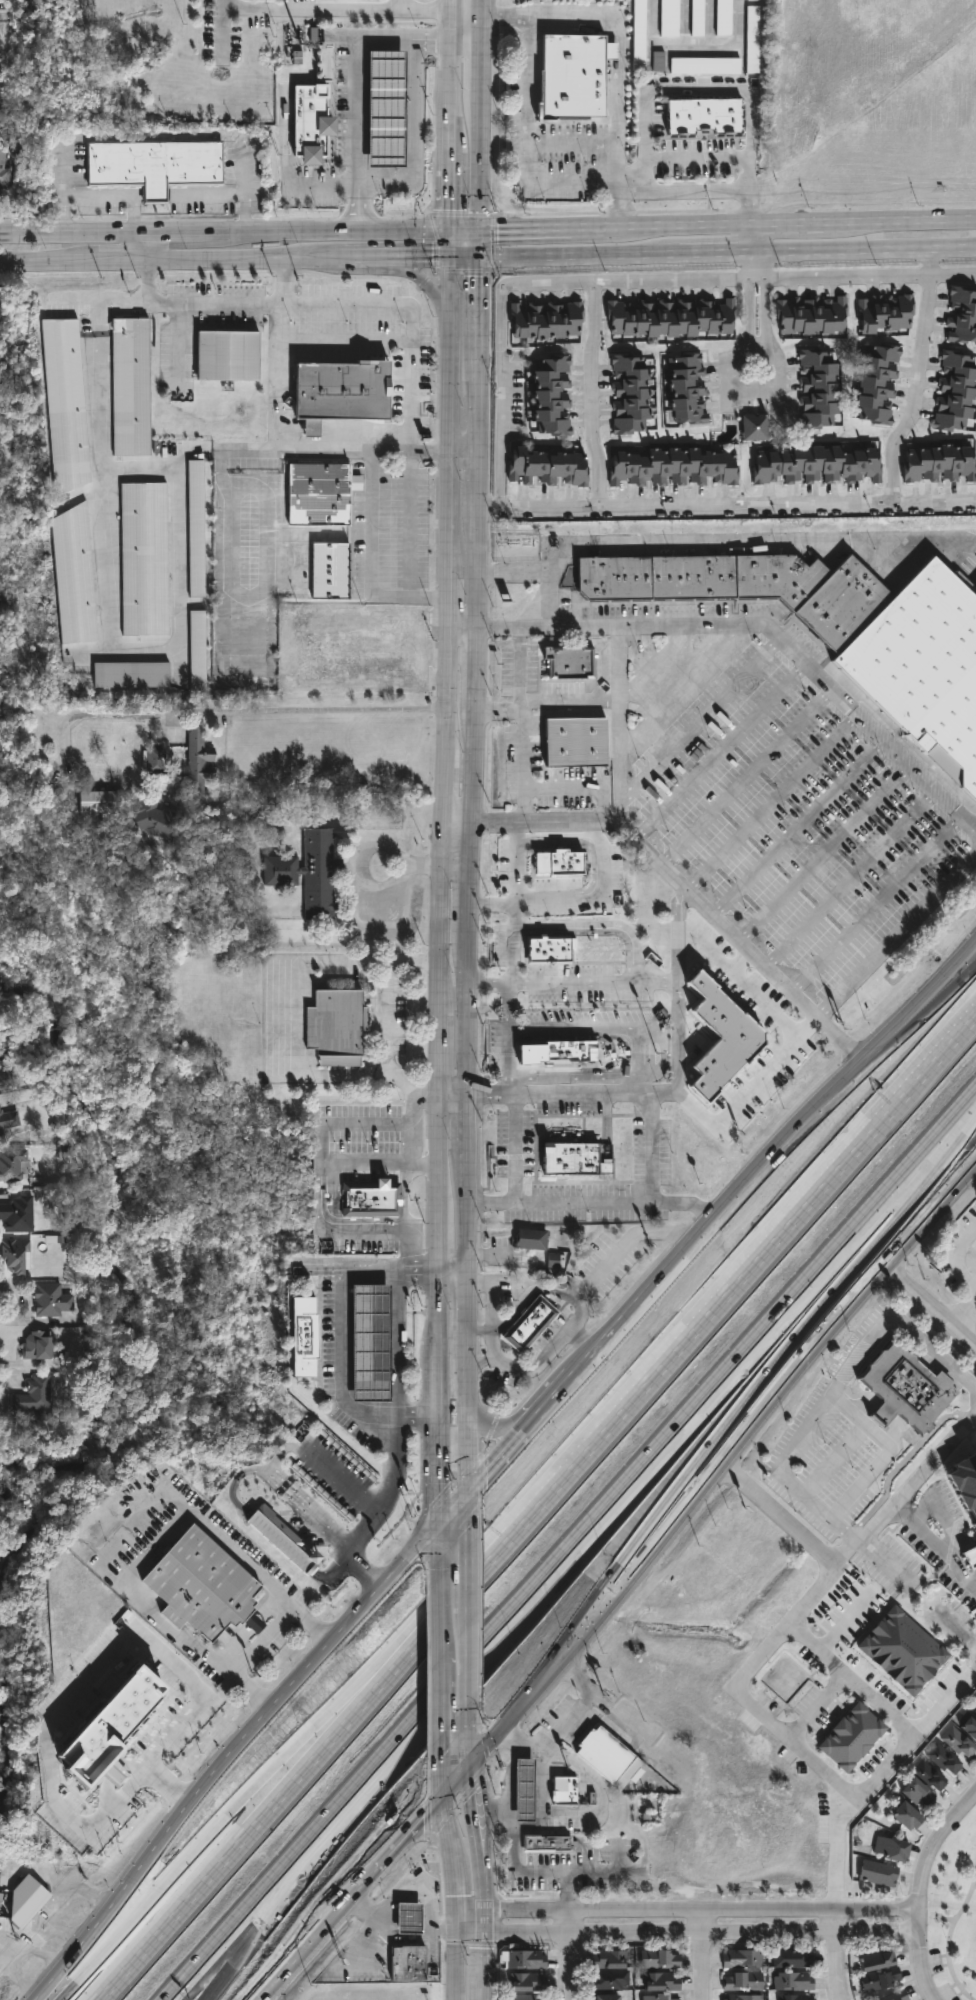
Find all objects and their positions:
building: (752, 0)
road: (309, 8)
road: (452, 9)
road: (477, 9)
road: (422, 14)
building: (724, 17)
road: (464, 18)
building: (669, 18)
building: (697, 18)
road: (226, 31)
building: (639, 35)
road: (694, 43)
road: (618, 52)
building: (752, 55)
road: (477, 56)
road: (450, 63)
building: (705, 66)
building: (574, 78)
road: (354, 89)
road: (702, 90)
building: (386, 107)
gas station: (386, 107)
building: (703, 116)
building: (310, 122)
road: (449, 130)
road: (148, 133)
road: (415, 139)
parking lot: (548, 139)
road: (476, 161)
building: (154, 165)
building: (2, 171)
road: (570, 185)
road: (324, 188)
road: (448, 190)
road: (113, 198)
traffic signals: (448, 211)
road: (905, 218)
road: (793, 222)
road: (662, 225)
road: (462, 228)
traffic signals: (499, 228)
road: (524, 228)
road: (338, 229)
road: (187, 231)
road: (73, 232)
road: (751, 236)
road: (476, 241)
road: (448, 242)
road: (146, 245)
road: (864, 247)
road: (715, 250)
road: (577, 253)
road: (462, 255)
road: (394, 256)
traffic signals: (432, 256)
road: (244, 258)
road: (114, 259)
road: (40, 260)
traffic signals: (476, 277)
road: (627, 281)
road: (421, 283)
road: (749, 296)
road: (765, 296)
road: (215, 304)
road: (476, 304)
building: (883, 312)
building: (809, 314)
building: (961, 315)
building: (668, 317)
building: (547, 319)
building: (228, 356)
road: (775, 363)
road: (282, 377)
road: (921, 377)
building: (876, 382)
building: (130, 387)
building: (684, 388)
building: (816, 388)
building: (336, 391)
building: (953, 391)
building: (550, 394)
road: (590, 394)
building: (627, 394)
road: (475, 402)
building: (65, 404)
road: (448, 414)
building: (752, 426)
road: (414, 444)
road: (431, 450)
road: (461, 450)
road: (290, 451)
building: (937, 463)
building: (815, 464)
building: (546, 466)
building: (670, 466)
road: (474, 489)
building: (317, 493)
road: (724, 505)
building: (196, 529)
road: (715, 539)
building: (144, 559)
building: (329, 570)
building: (74, 577)
road: (473, 578)
building: (744, 585)
road: (538, 596)
road: (447, 600)
road: (106, 607)
road: (460, 628)
building: (197, 651)
building: (332, 662)
building: (569, 662)
road: (621, 664)
road: (472, 665)
building: (923, 667)
road: (522, 668)
building: (131, 675)
road: (820, 675)
road: (444, 690)
road: (309, 710)
road: (701, 720)
building: (573, 742)
road: (523, 750)
road: (721, 750)
building: (199, 760)
building: (153, 761)
road: (468, 763)
road: (746, 776)
road: (441, 787)
road: (562, 790)
building: (97, 802)
road: (773, 802)
road: (616, 807)
building: (153, 820)
road: (503, 821)
road: (453, 823)
road: (799, 828)
road: (638, 841)
road: (358, 852)
road: (825, 854)
building: (558, 865)
road: (593, 866)
road: (516, 868)
building: (308, 873)
road: (466, 877)
road: (851, 880)
road: (604, 899)
road: (490, 900)
road: (876, 904)
road: (514, 909)
road: (439, 914)
road: (599, 924)
road: (897, 933)
road: (681, 942)
building: (549, 946)
road: (513, 956)
road: (414, 962)
road: (708, 971)
road: (774, 975)
road: (954, 980)
road: (954, 983)
road: (589, 986)
road: (288, 987)
road: (509, 987)
road: (465, 1012)
road: (718, 1024)
building: (334, 1026)
building: (720, 1039)
building: (561, 1041)
road: (677, 1044)
road: (742, 1049)
road: (439, 1051)
road: (663, 1052)
road: (507, 1061)
road: (768, 1074)
building: (6, 1082)
road: (452, 1094)
road: (685, 1097)
building: (9, 1123)
road: (465, 1123)
road: (351, 1124)
road: (414, 1126)
road: (519, 1144)
building: (576, 1146)
road: (648, 1147)
road: (438, 1151)
building: (11, 1164)
road: (748, 1183)
road: (332, 1193)
building: (368, 1199)
road: (686, 1205)
road: (466, 1213)
building: (17, 1215)
building: (537, 1227)
building: (531, 1240)
road: (437, 1242)
building: (15, 1257)
road: (956, 1261)
road: (420, 1272)
road: (451, 1274)
road: (582, 1289)
road: (726, 1296)
building: (51, 1300)
road: (342, 1309)
road: (437, 1313)
road: (466, 1315)
road: (930, 1315)
road: (963, 1318)
building: (528, 1324)
road: (570, 1326)
building: (302, 1336)
building: (368, 1342)
gas station: (368, 1342)
building: (36, 1345)
road: (757, 1348)
road: (480, 1362)
road: (776, 1366)
road: (525, 1372)
road: (436, 1383)
building: (905, 1390)
road: (836, 1395)
building: (35, 1396)
road: (554, 1399)
road: (781, 1403)
road: (414, 1414)
road: (466, 1422)
road: (499, 1427)
road: (500, 1456)
road: (280, 1457)
road: (436, 1469)
road: (258, 1471)
traffic signals: (484, 1471)
building: (965, 1487)
road: (235, 1491)
road: (356, 1495)
traffic signals: (436, 1496)
road: (450, 1506)
road: (464, 1509)
road: (308, 1516)
traffic signals: (464, 1529)
building: (281, 1538)
road: (225, 1540)
road: (860, 1540)
road: (281, 1541)
road: (435, 1544)
road: (934, 1546)
building: (969, 1556)
road: (333, 1575)
road: (363, 1577)
road: (464, 1577)
building: (198, 1586)
road: (435, 1612)
road: (170, 1617)
road: (312, 1627)
road: (481, 1650)
building: (902, 1651)
road: (106, 1666)
road: (228, 1666)
road: (464, 1673)
road: (850, 1679)
road: (736, 1688)
road: (531, 1702)
building: (974, 1702)
road: (435, 1708)
building: (975, 1708)
building: (975, 1711)
building: (969, 1724)
road: (563, 1727)
building: (111, 1730)
building: (851, 1737)
building: (959, 1742)
road: (468, 1745)
road: (230, 1758)
building: (609, 1758)
building: (944, 1758)
traffic signals: (436, 1762)
road: (874, 1774)
building: (930, 1775)
road: (438, 1779)
road: (261, 1780)
road: (457, 1786)
road: (291, 1787)
building: (525, 1790)
traffic signals: (475, 1791)
building: (565, 1791)
building: (917, 1792)
road: (588, 1814)
building: (908, 1815)
traffic signals: (421, 1824)
road: (531, 1829)
road: (448, 1836)
road: (479, 1837)
building: (547, 1845)
road: (396, 1848)
building: (891, 1848)
road: (298, 1854)
road: (321, 1858)
road: (515, 1871)
road: (604, 1872)
building: (878, 1873)
building: (30, 1888)
road: (920, 1892)
road: (412, 1895)
traffic signals: (456, 1898)
road: (456, 1900)
traffic signals: (499, 1907)
road: (700, 1907)
road: (470, 1908)
park: (953, 1916)
building: (407, 1919)
gas station: (407, 1919)
road: (483, 1920)
traffic signals: (438, 1931)
road: (470, 1932)
road: (700, 1933)
road: (365, 1936)
road: (310, 1947)
traffic signals: (483, 1949)
road: (570, 1953)
road: (701, 1954)
road: (836, 1955)
building: (659, 1958)
building: (741, 1958)
building: (792, 1958)
building: (526, 1959)
building: (607, 1959)
building: (877, 1961)
road: (483, 1963)
building: (406, 1964)
road: (457, 1966)
building: (881, 1979)
building: (609, 1980)
building: (794, 1980)
building: (526, 1981)
building: (661, 1981)
building: (742, 1981)
building: (742, 1996)
building: (897, 1996)
road: (484, 1997)
building: (527, 1997)
building: (605, 1997)
building: (658, 1997)
building: (796, 1997)

